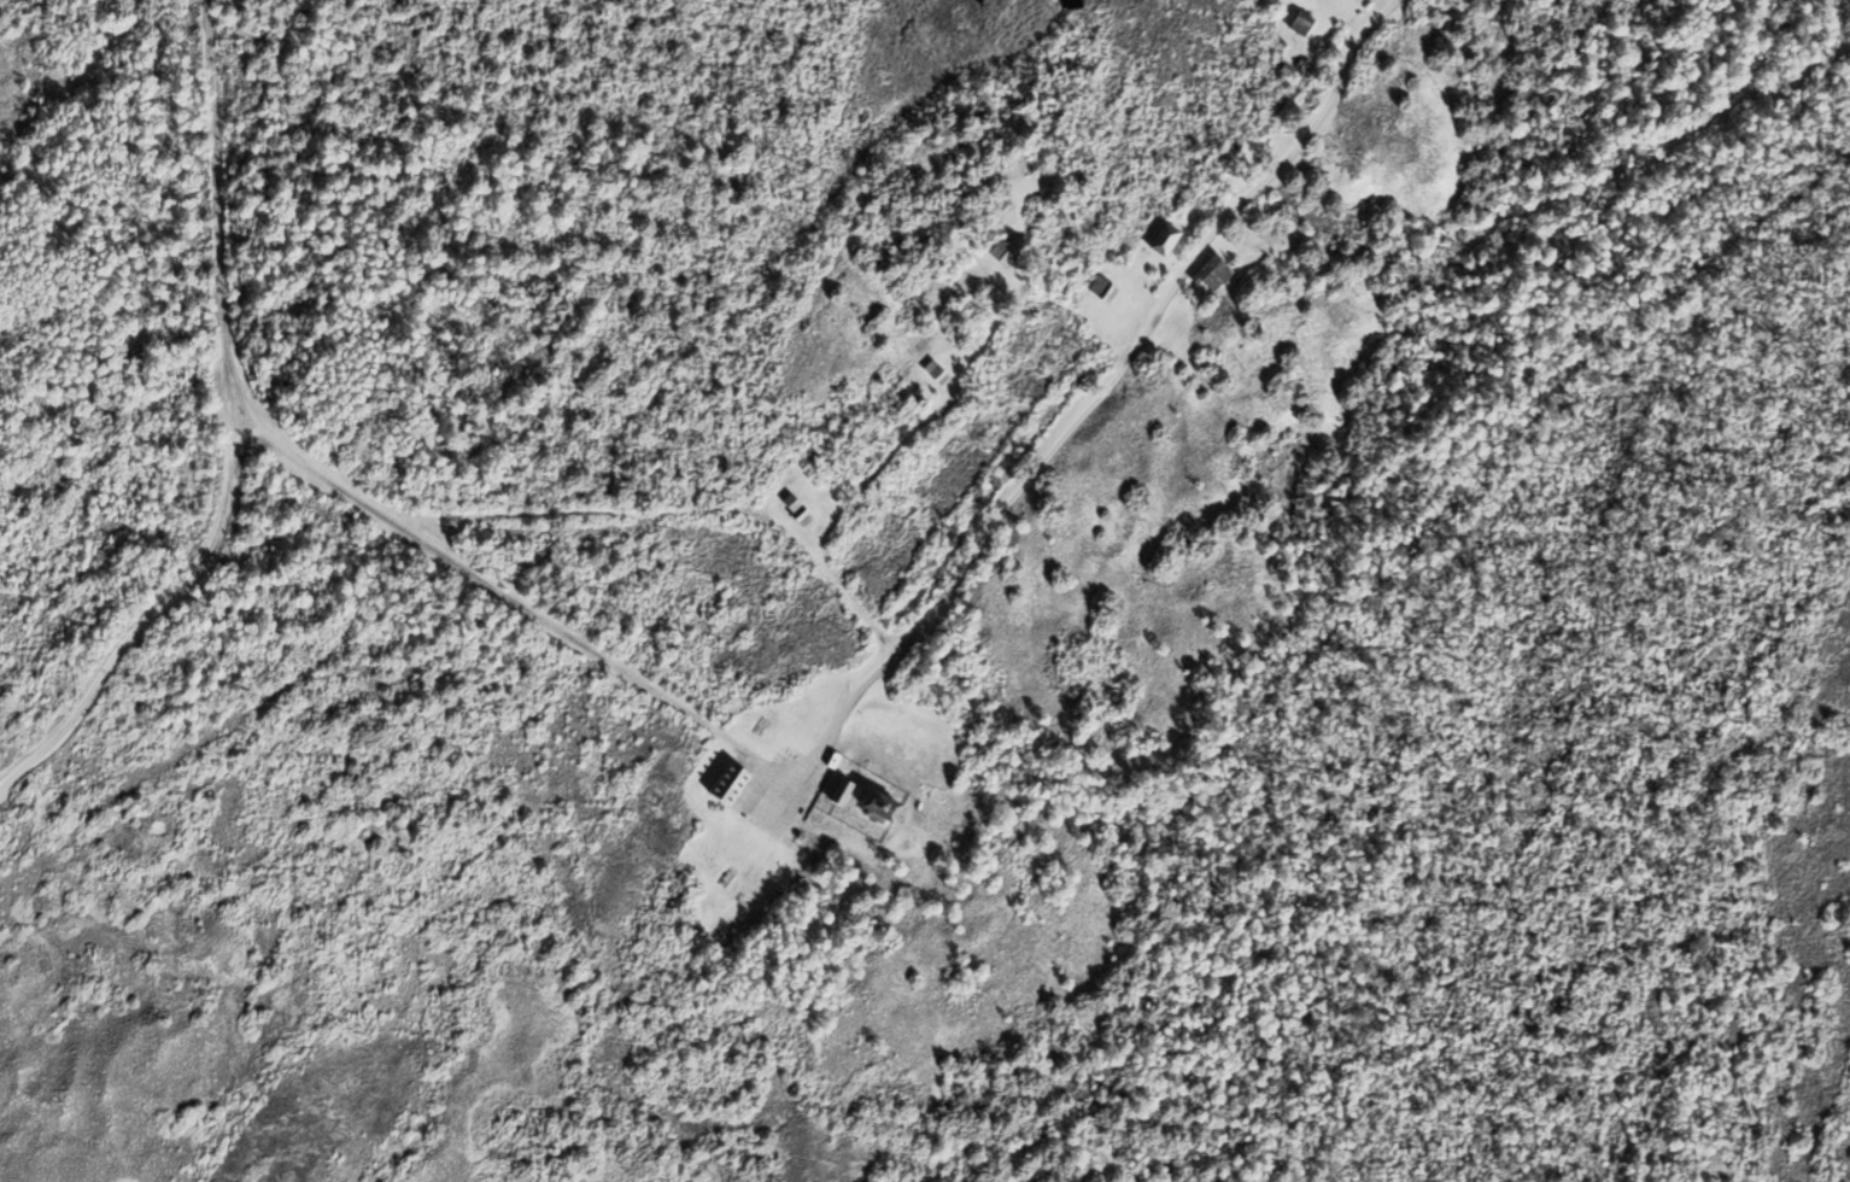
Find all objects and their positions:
building: (1300, 21)
building: (1286, 66)
road: (1557, 195)
building: (1164, 236)
building: (968, 251)
building: (1000, 251)
building: (1211, 270)
building: (1102, 287)
building: (1178, 324)
building: (1172, 353)
building: (1196, 364)
building: (935, 370)
road: (228, 384)
road: (1106, 393)
road: (919, 422)
road: (229, 426)
road: (245, 432)
road: (341, 490)
building: (796, 508)
road: (601, 510)
road: (222, 514)
road: (98, 680)
building: (760, 724)
building: (832, 757)
storage tank: (832, 757)
building: (727, 780)
parking lot: (779, 788)
building: (841, 789)
building: (856, 790)
storage tank: (856, 790)
building: (880, 802)
building: (720, 804)
building: (917, 804)
storage tank: (917, 804)
road: (838, 806)
road: (908, 817)
road: (841, 819)
road: (867, 824)
building: (800, 835)
building: (726, 874)
building: (150, 930)
building: (88, 944)
building: (43, 961)
building: (8, 972)

